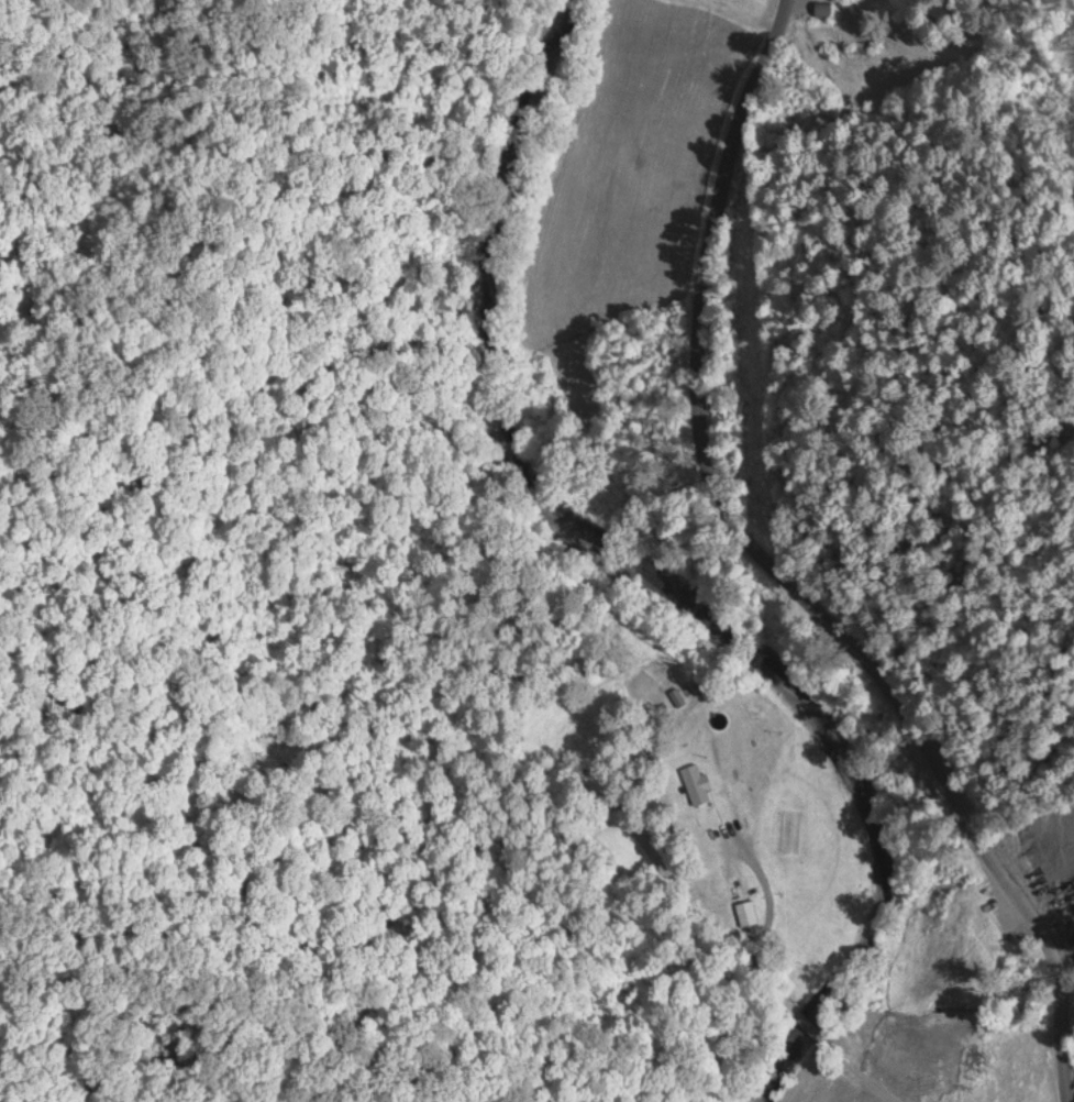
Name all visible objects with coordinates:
building: (821, 7)
road: (783, 575)
river: (654, 580)
building: (694, 781)
building: (744, 911)

